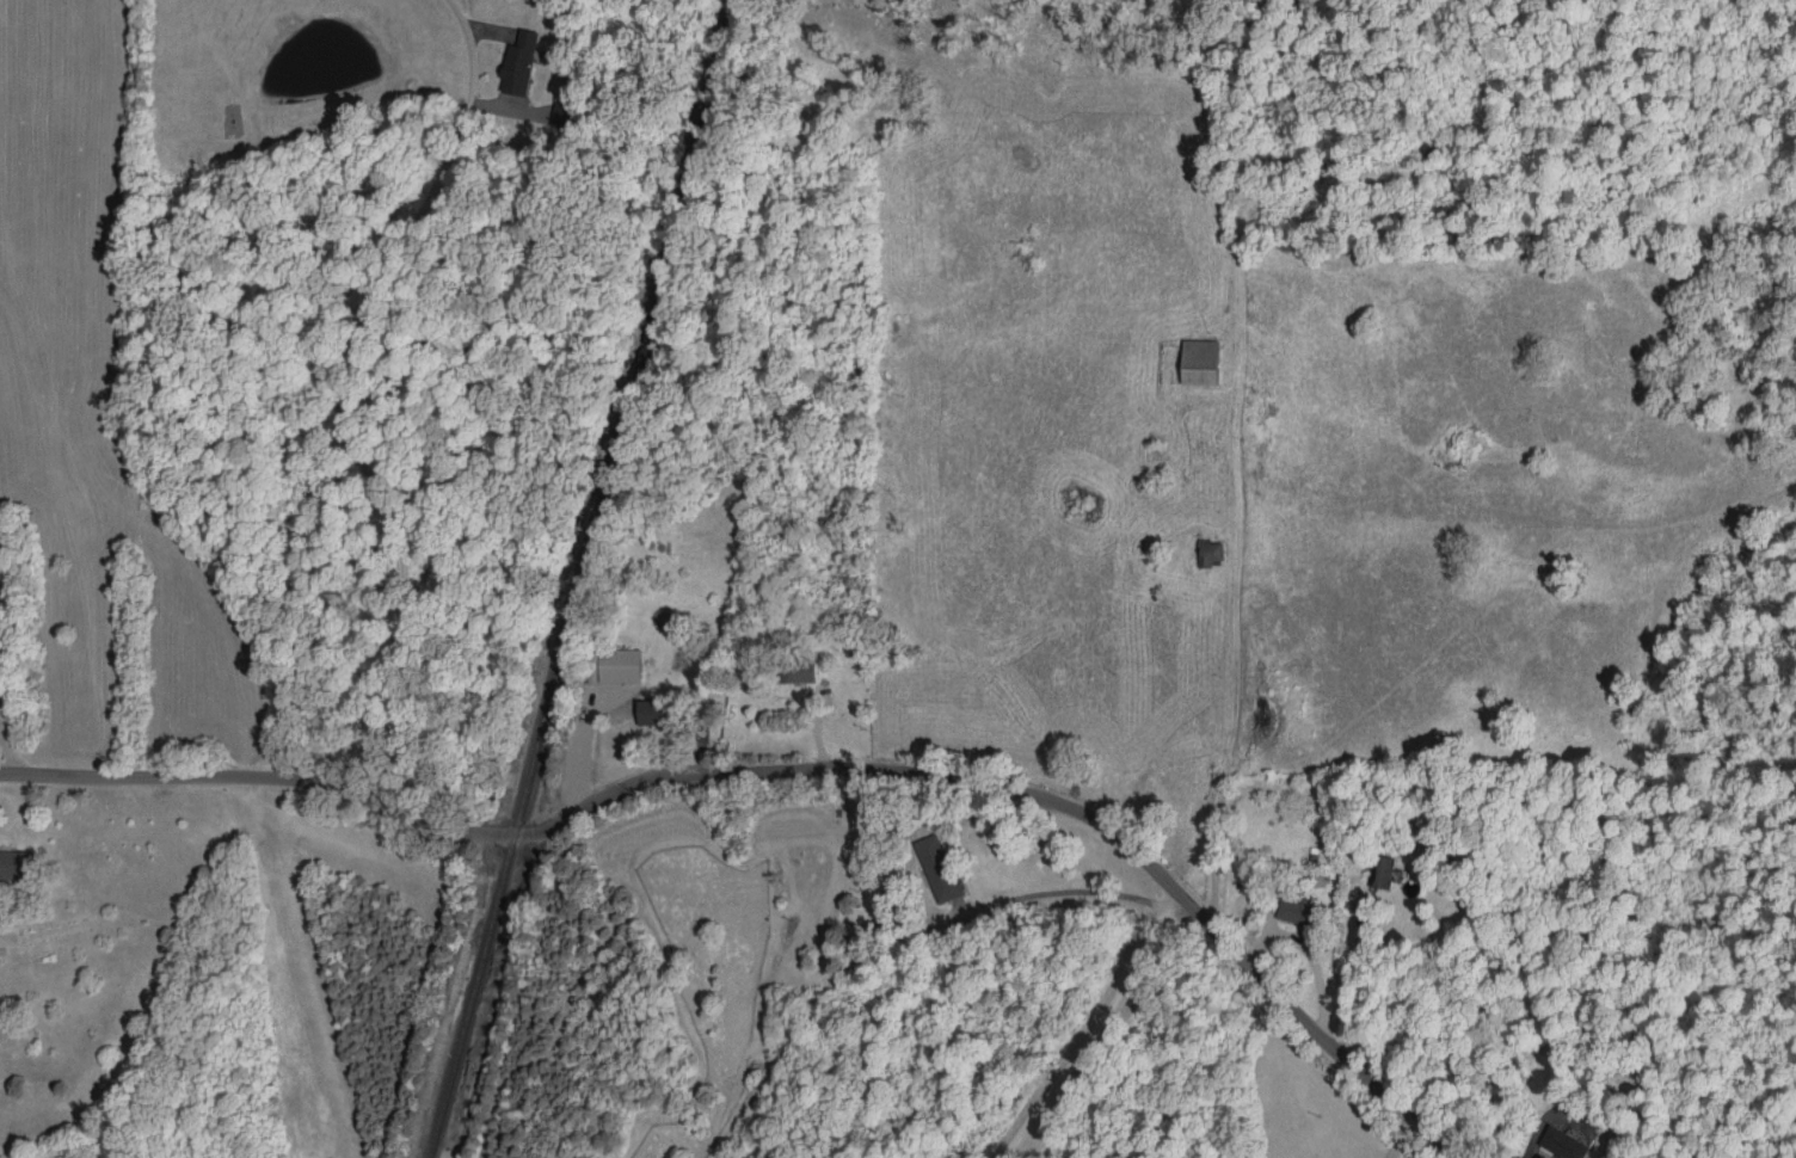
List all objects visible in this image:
building: (1200, 361)
road: (344, 392)
building: (1211, 552)
railway: (578, 577)
building: (615, 665)
building: (794, 671)
building: (656, 712)
road: (11, 744)
road: (792, 769)
building: (939, 867)
building: (1382, 870)
road: (1054, 895)
building: (1297, 910)
road: (1346, 983)
road: (1088, 1025)
road: (1401, 1139)
building: (1564, 1142)

